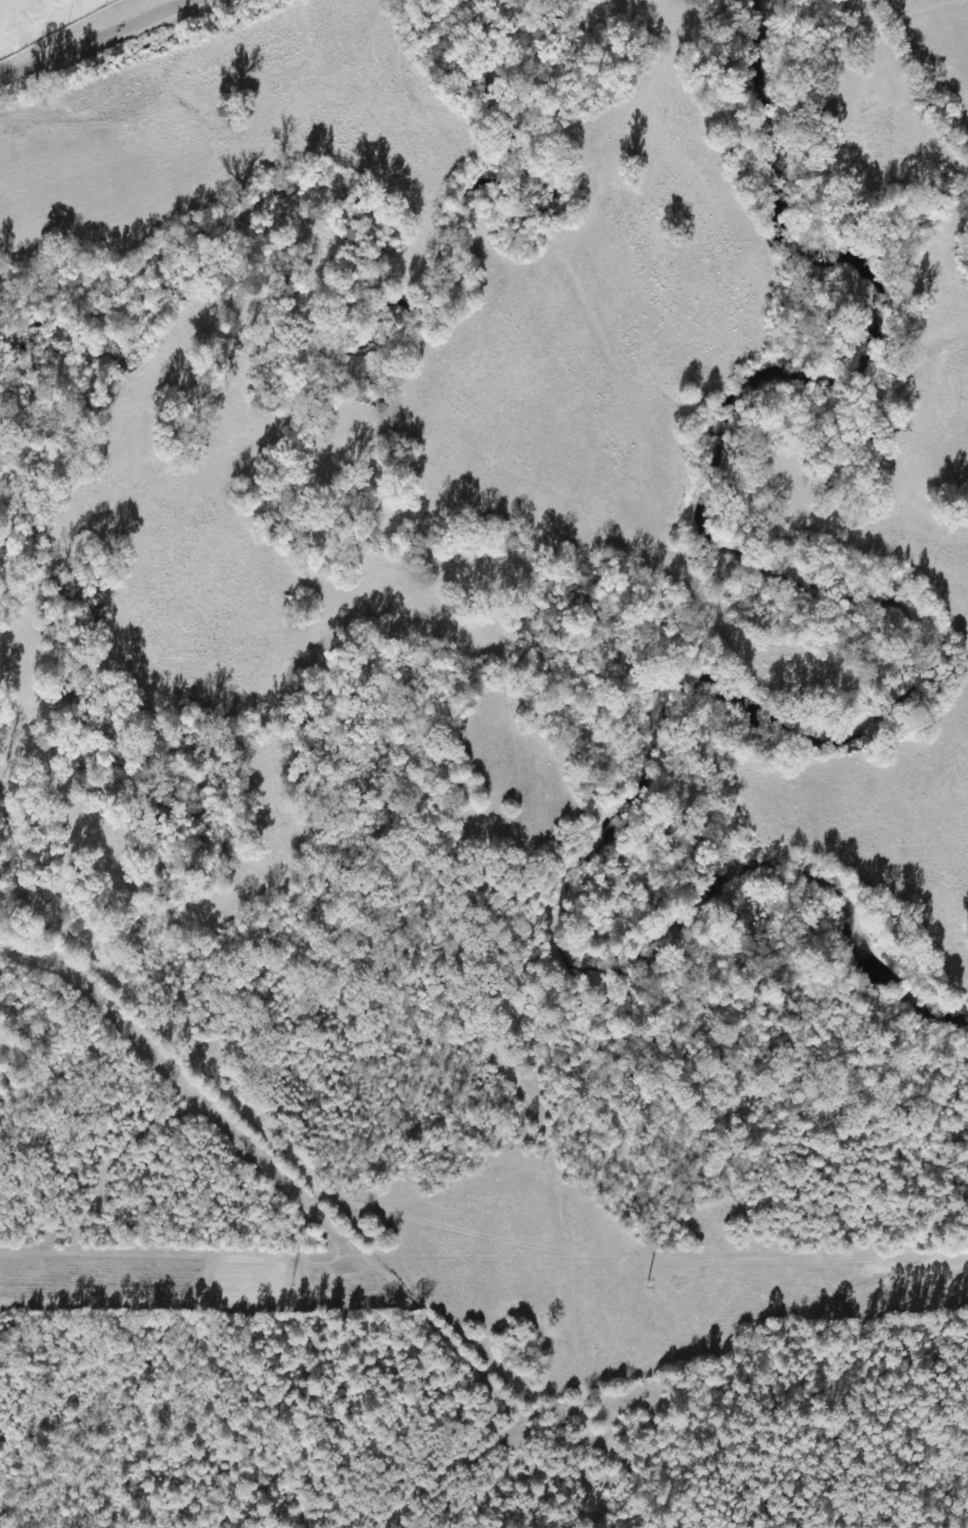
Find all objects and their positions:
road: (113, 46)
power tower: (965, 1276)
power tower: (284, 1278)
power tower: (642, 1280)

